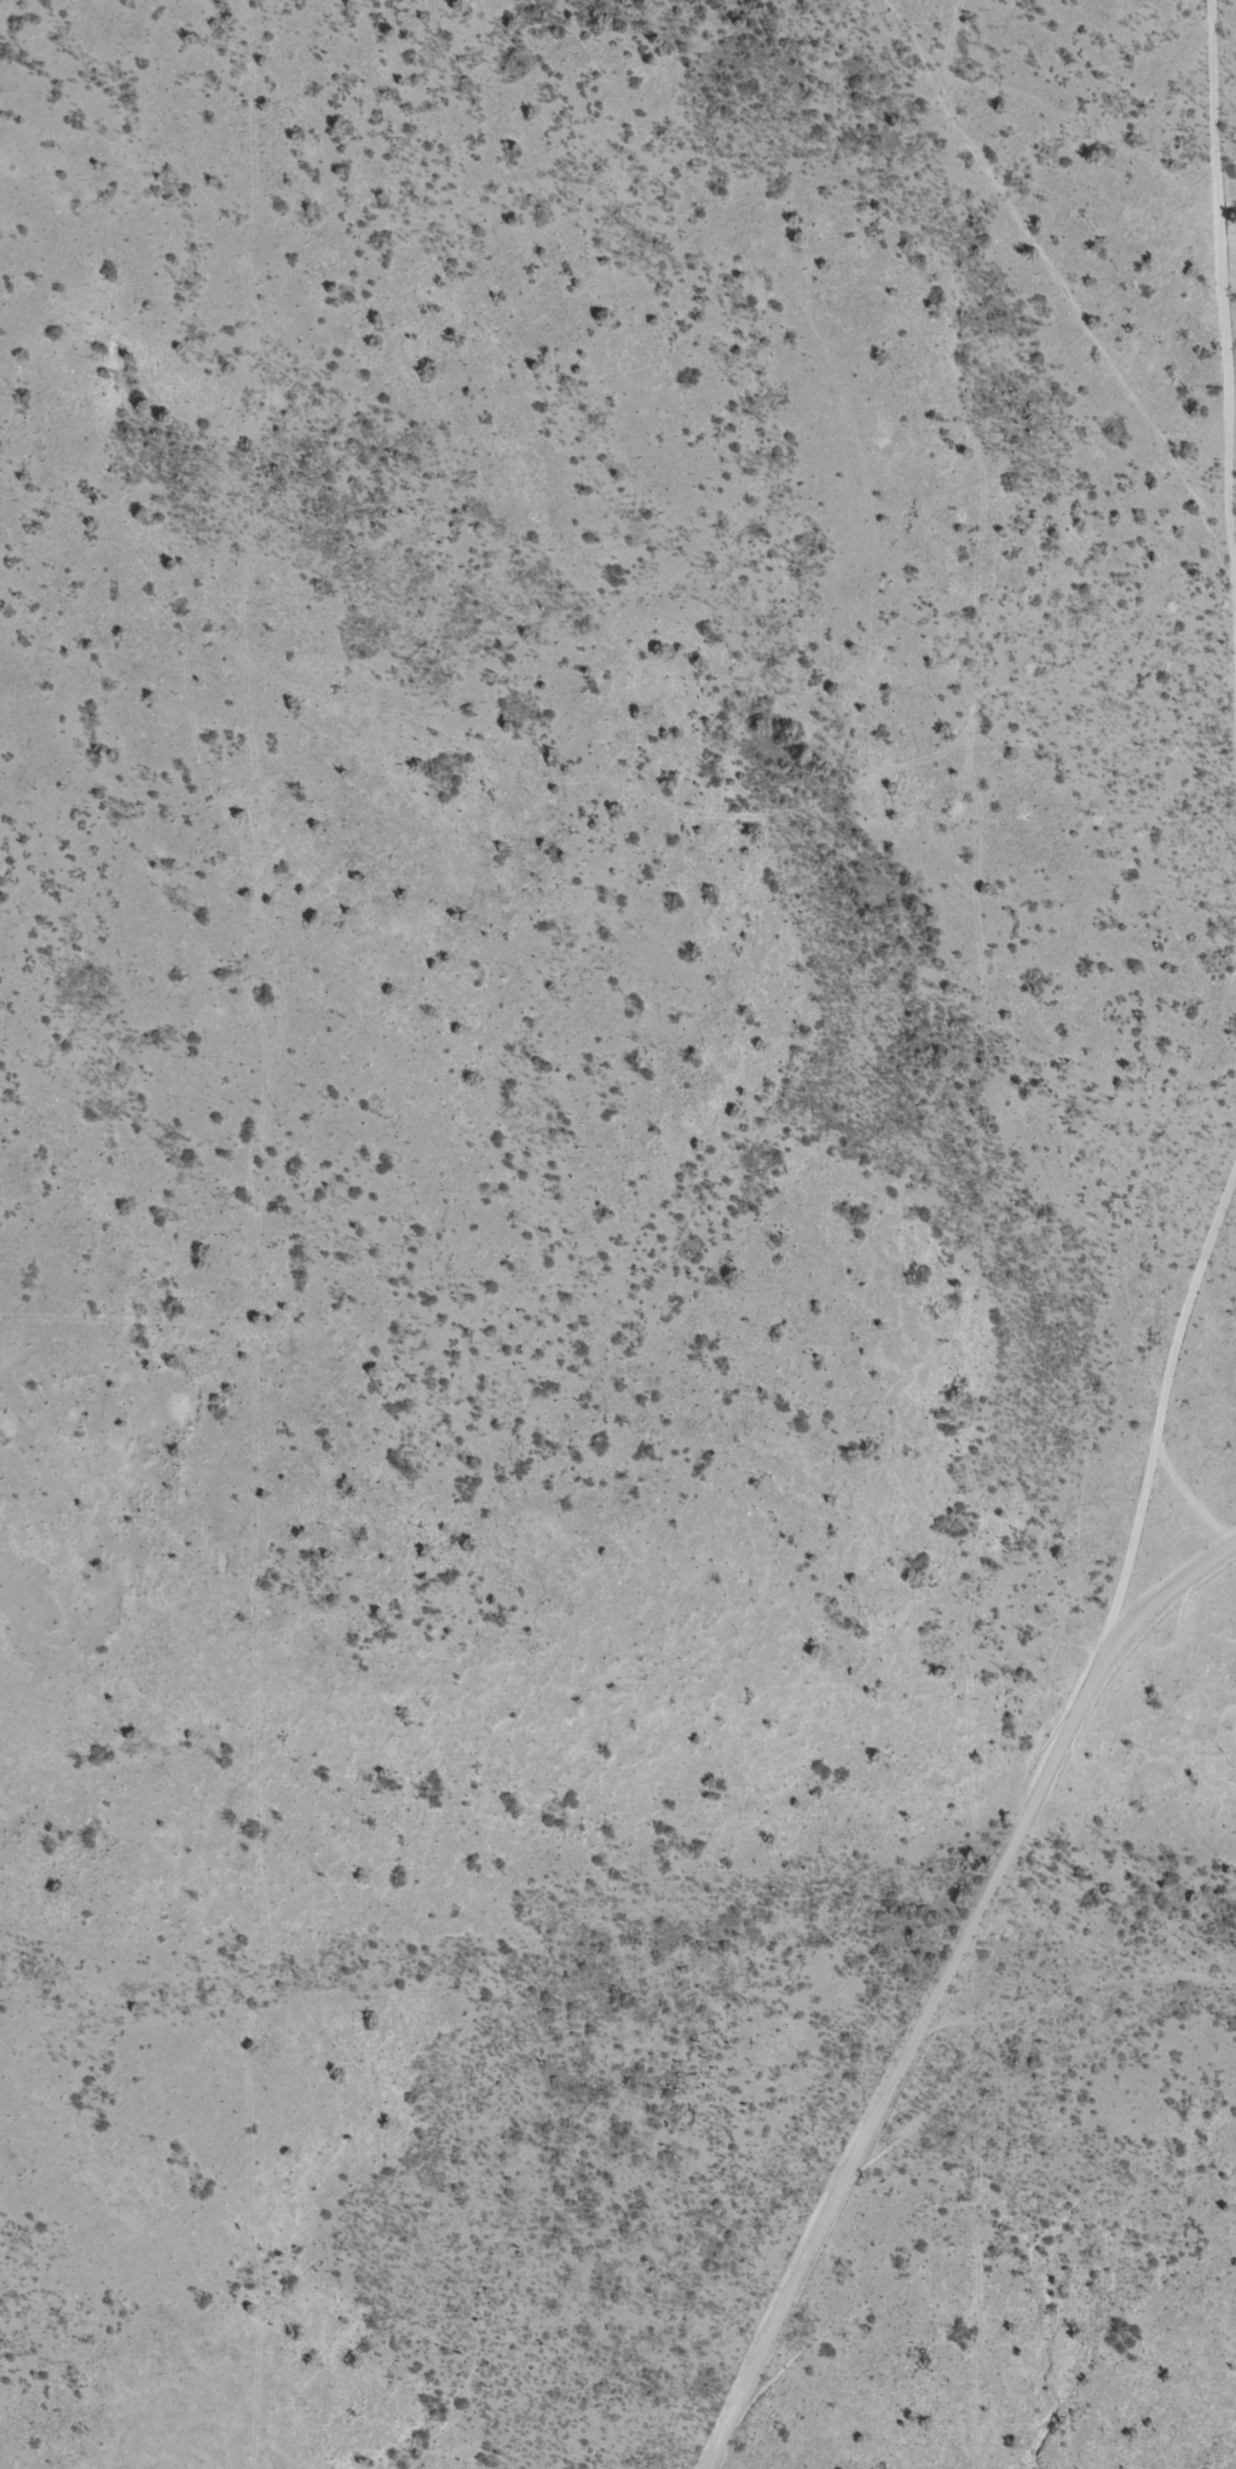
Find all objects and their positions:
road: (1034, 1847)

